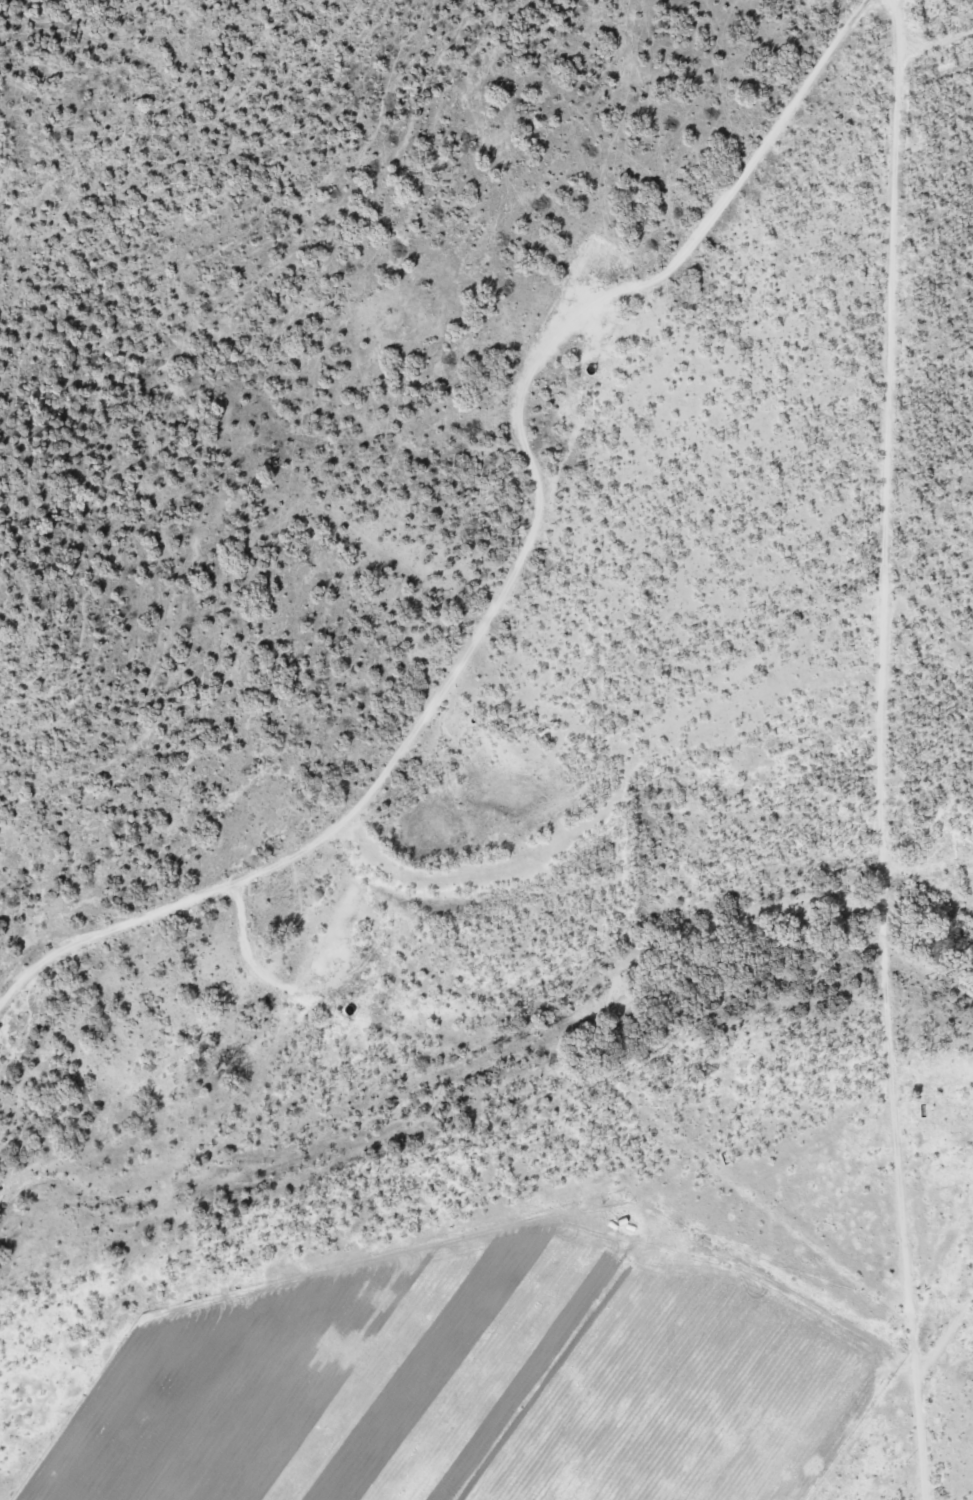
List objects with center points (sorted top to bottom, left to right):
road: (509, 575)

